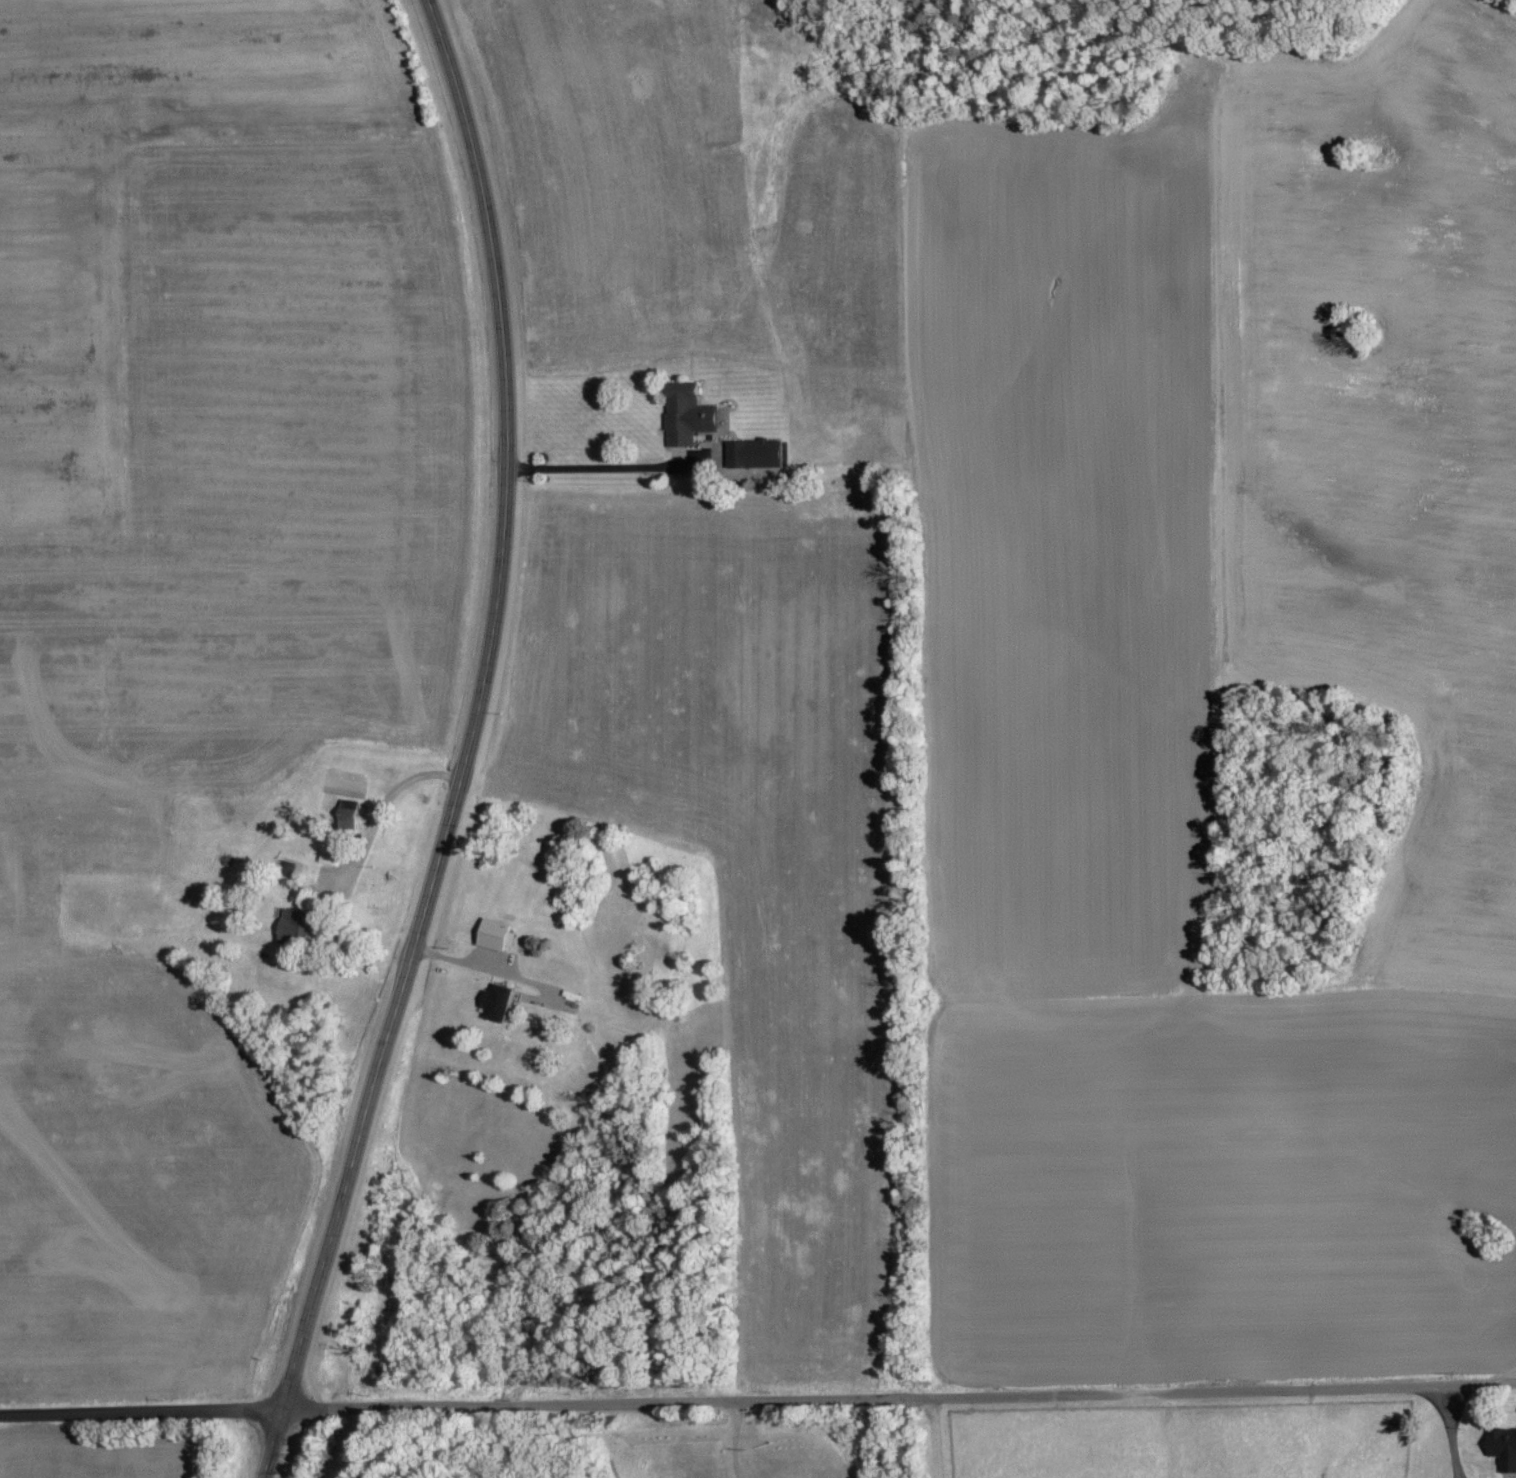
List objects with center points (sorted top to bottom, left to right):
building: (685, 417)
building: (753, 454)
road: (606, 467)
road: (465, 746)
road: (380, 805)
building: (293, 926)
building: (494, 935)
road: (489, 971)
building: (498, 1001)
road: (758, 1399)
road: (1447, 1430)

